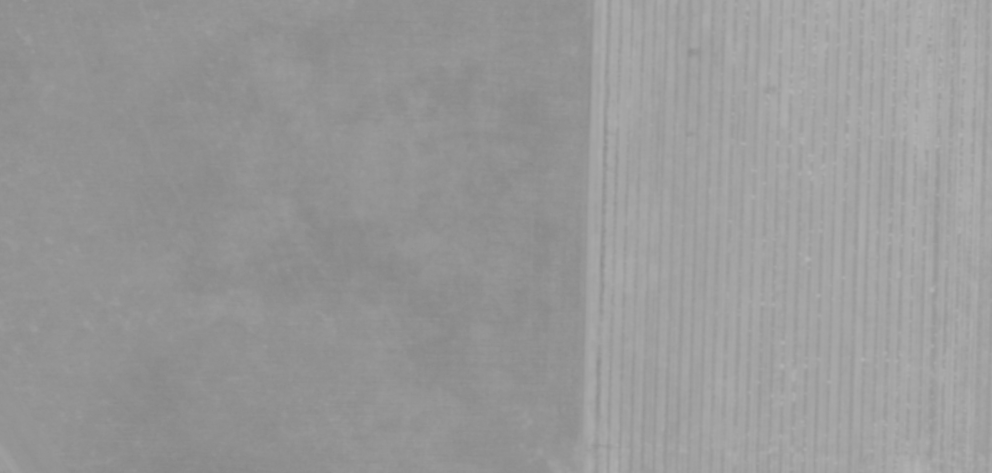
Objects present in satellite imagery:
crop: (497, 235)
road: (9, 459)

